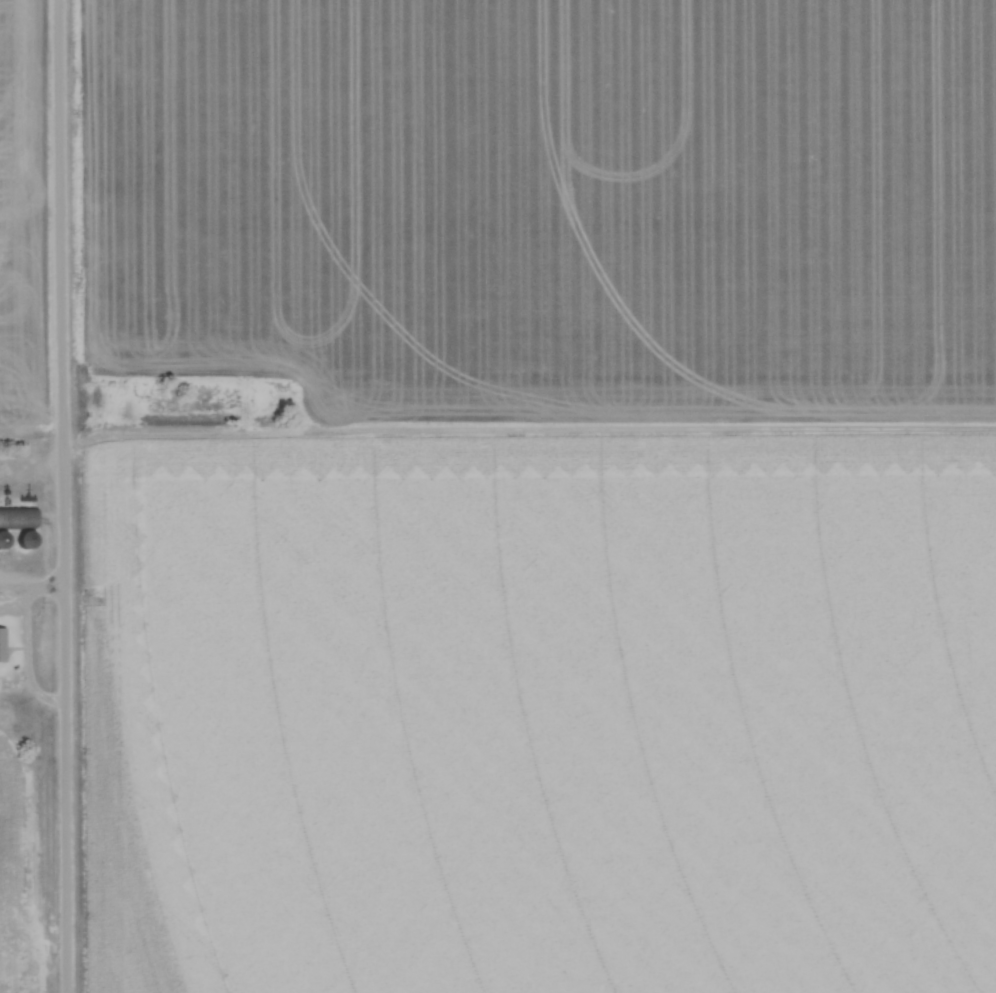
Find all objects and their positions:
road: (65, 496)
building: (28, 540)
building: (0, 543)
silo: (0, 543)
building: (18, 544)
silo: (18, 544)
building: (3, 645)

